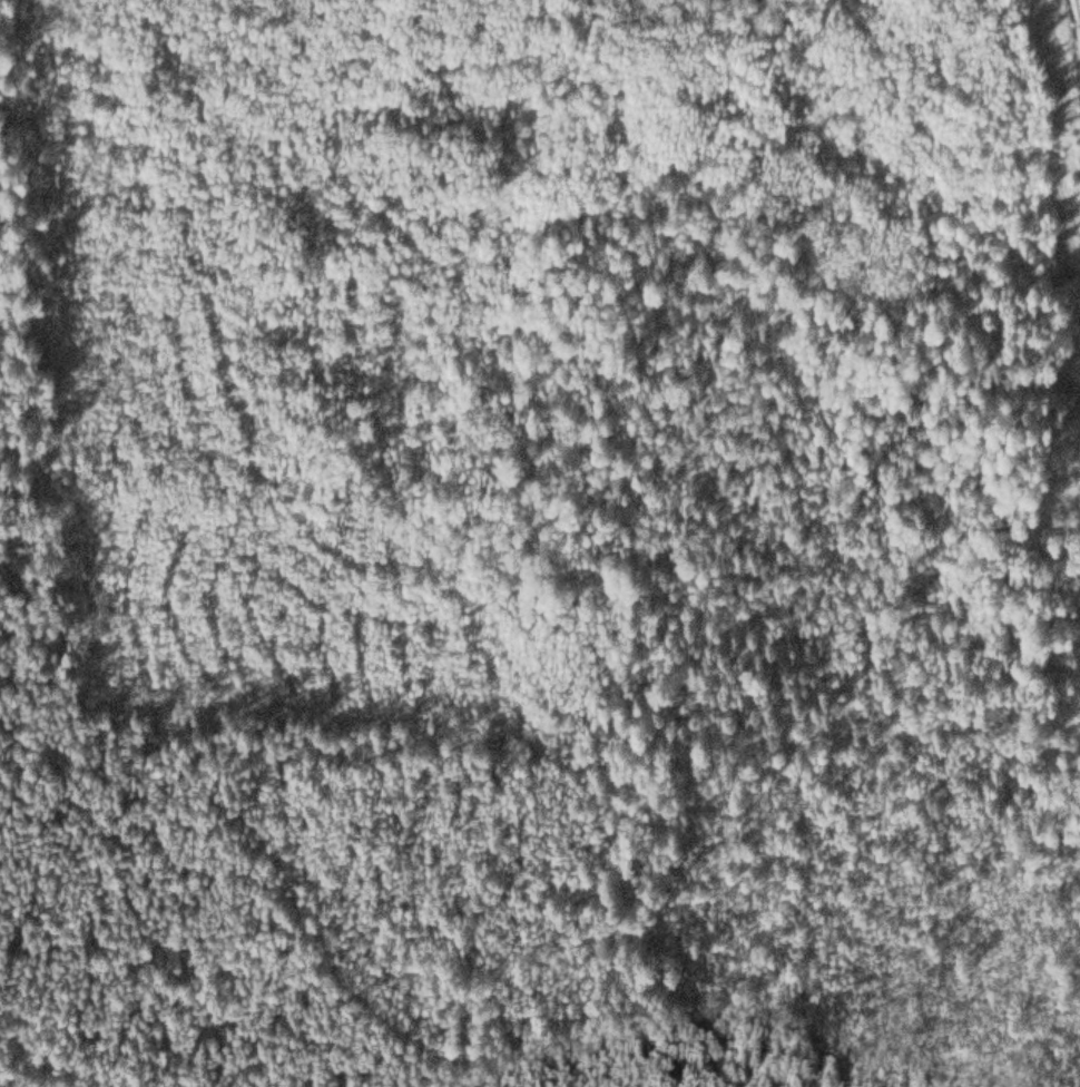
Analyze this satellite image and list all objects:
road: (1079, 2)

